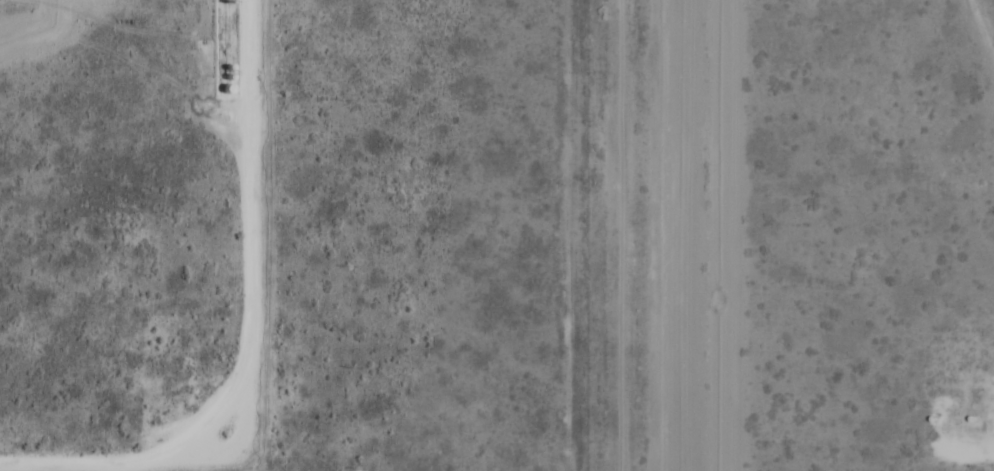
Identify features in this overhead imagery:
road: (253, 345)
road: (965, 431)

